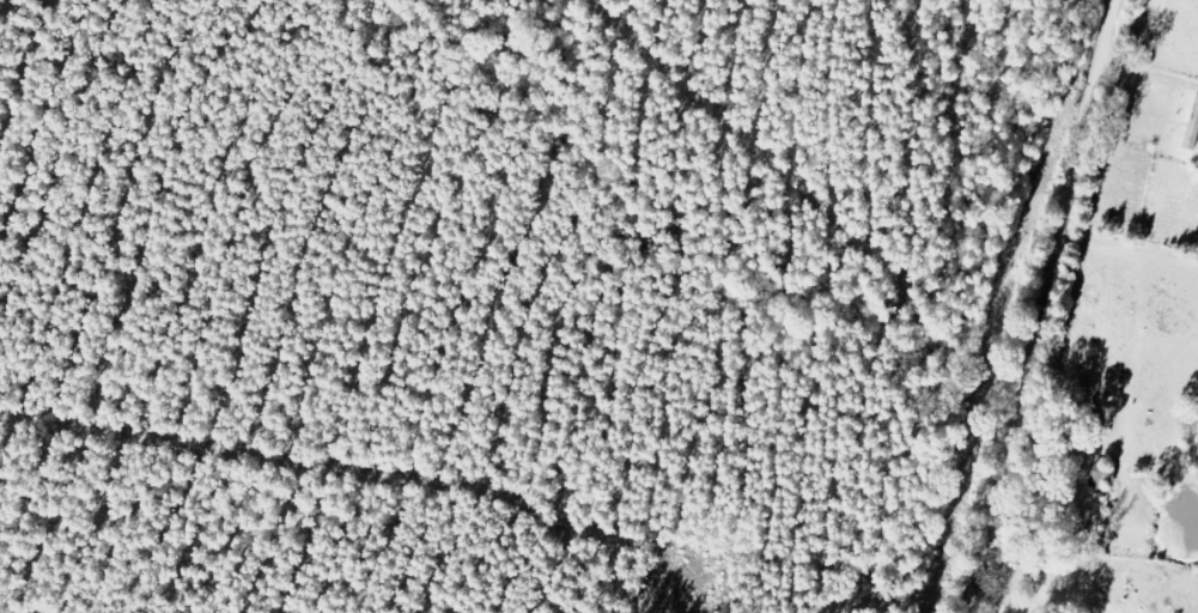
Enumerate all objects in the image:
road: (1075, 306)

